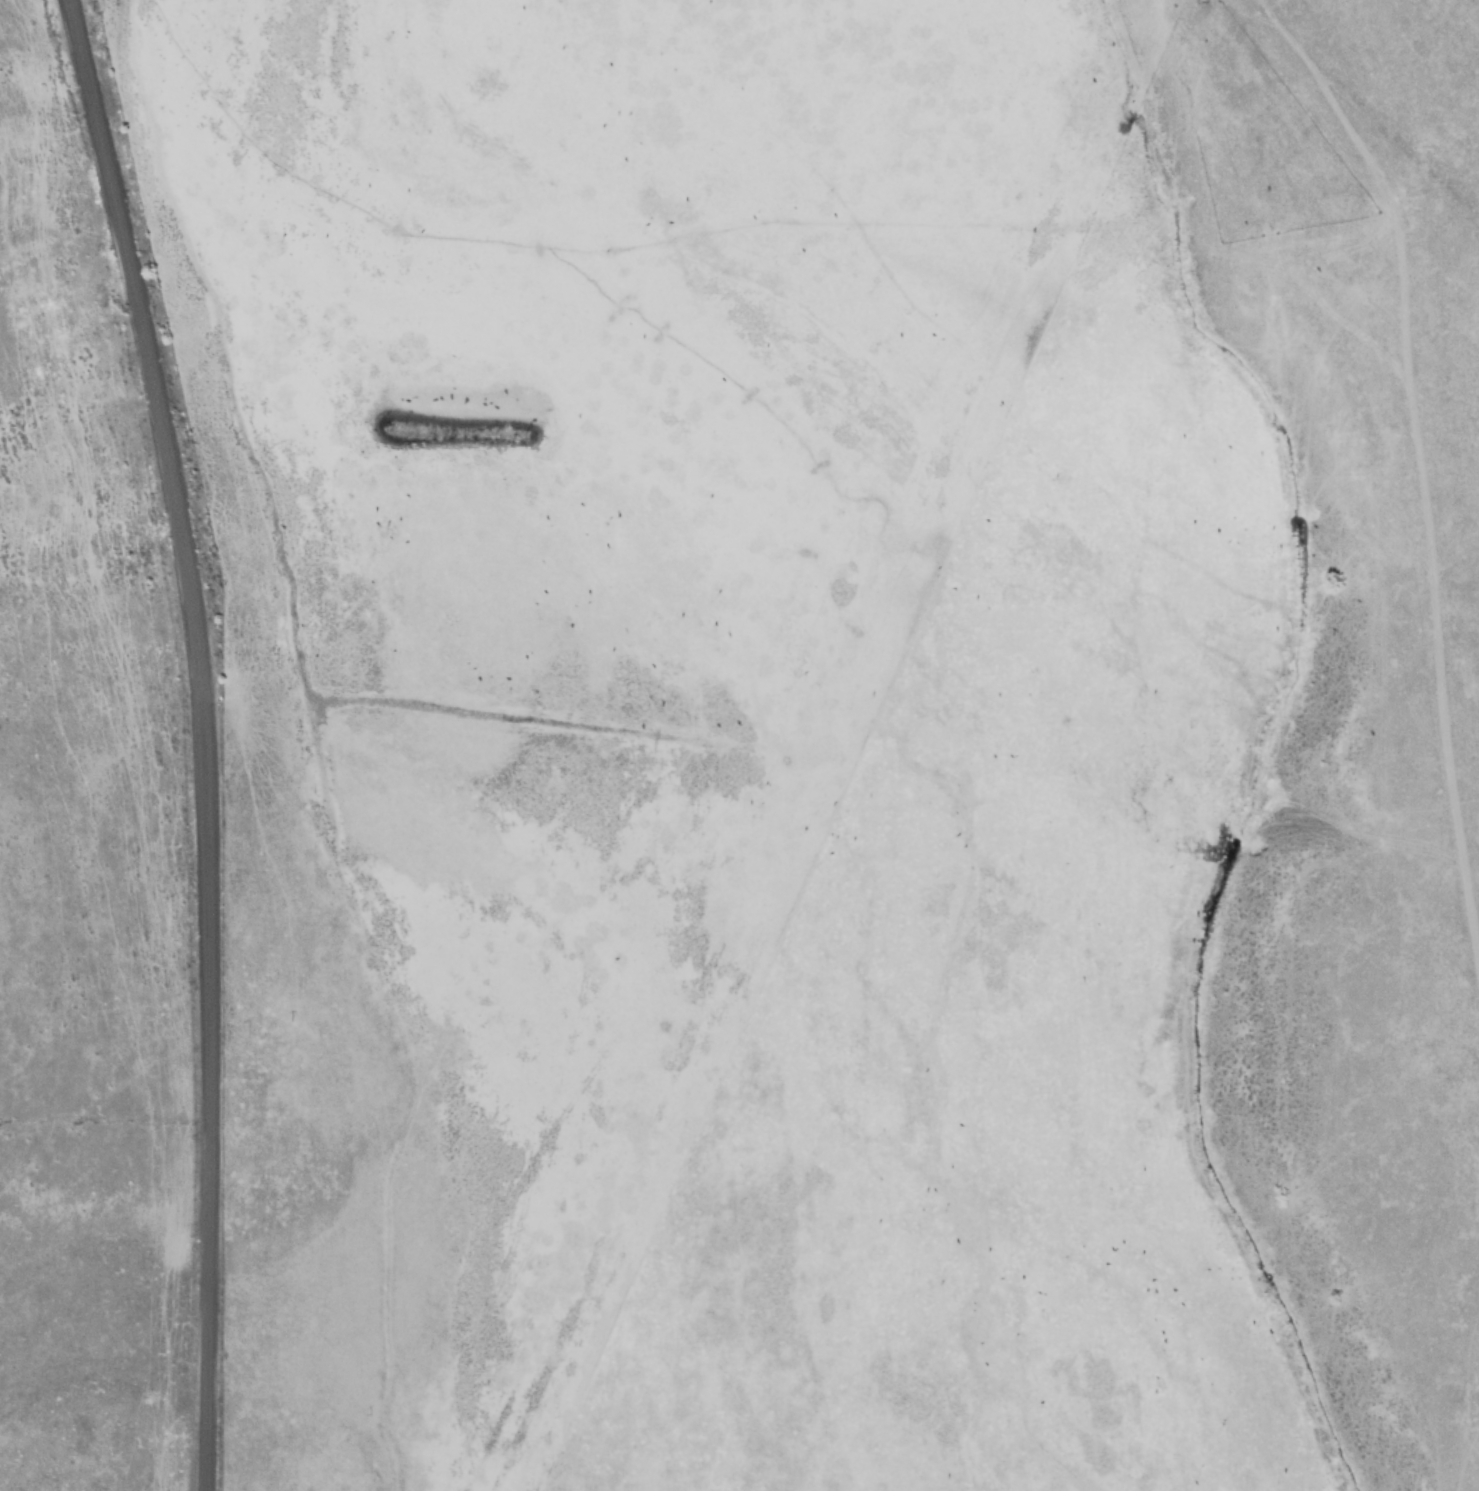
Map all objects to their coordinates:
road: (201, 739)

